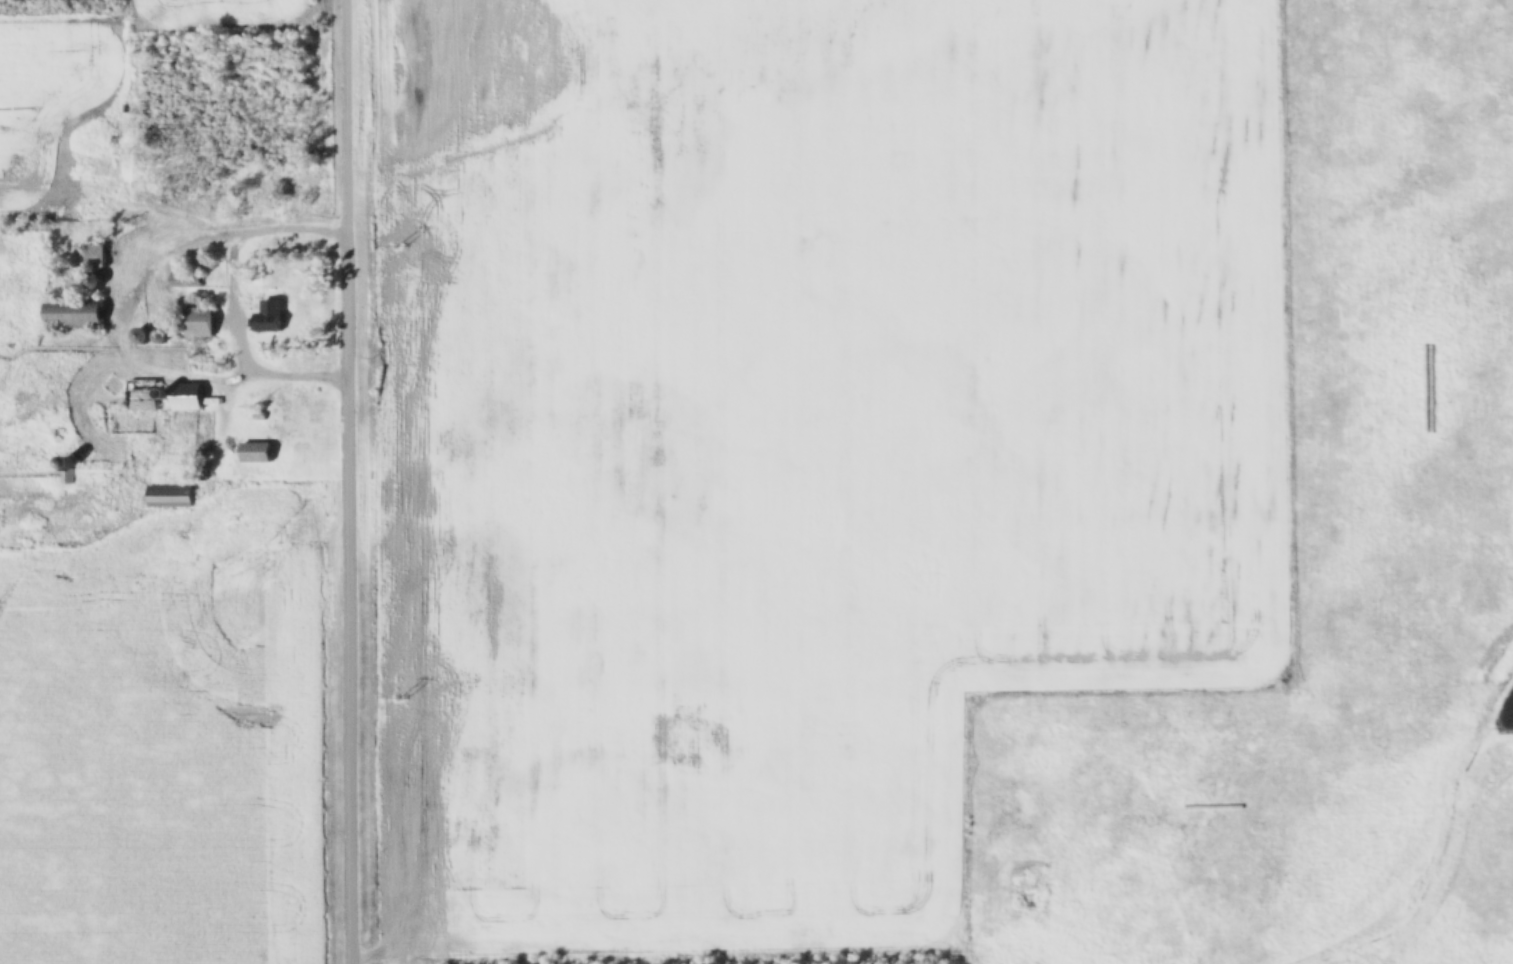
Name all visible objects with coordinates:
building: (126, 230)
building: (159, 240)
power tower: (400, 247)
building: (94, 257)
building: (92, 280)
building: (185, 280)
road: (233, 302)
building: (73, 315)
building: (268, 317)
building: (199, 323)
building: (164, 394)
building: (143, 395)
building: (187, 397)
building: (255, 452)
building: (66, 476)
road: (353, 481)
building: (169, 496)
power tower: (403, 699)

